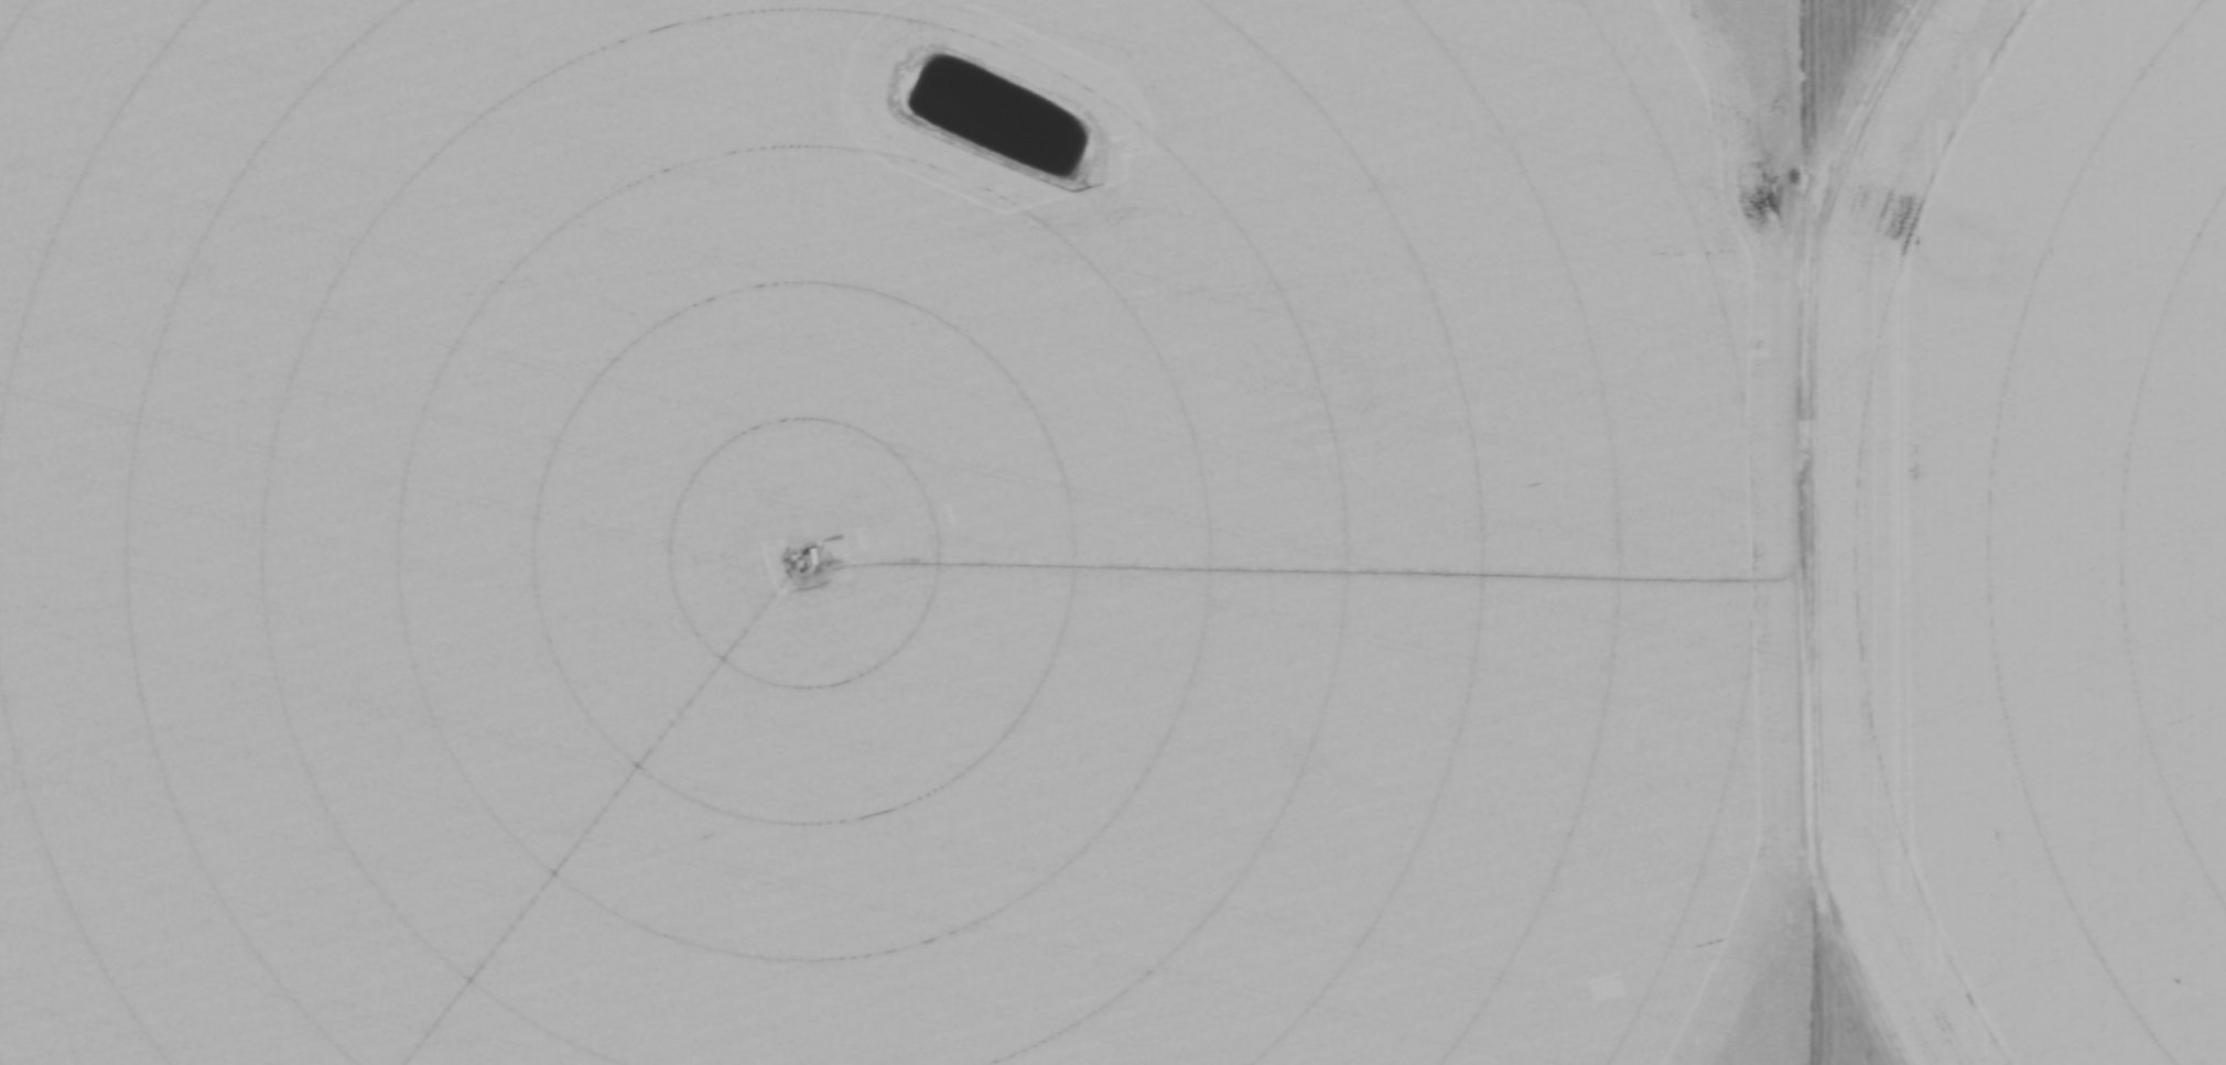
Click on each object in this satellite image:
road: (1795, 532)

